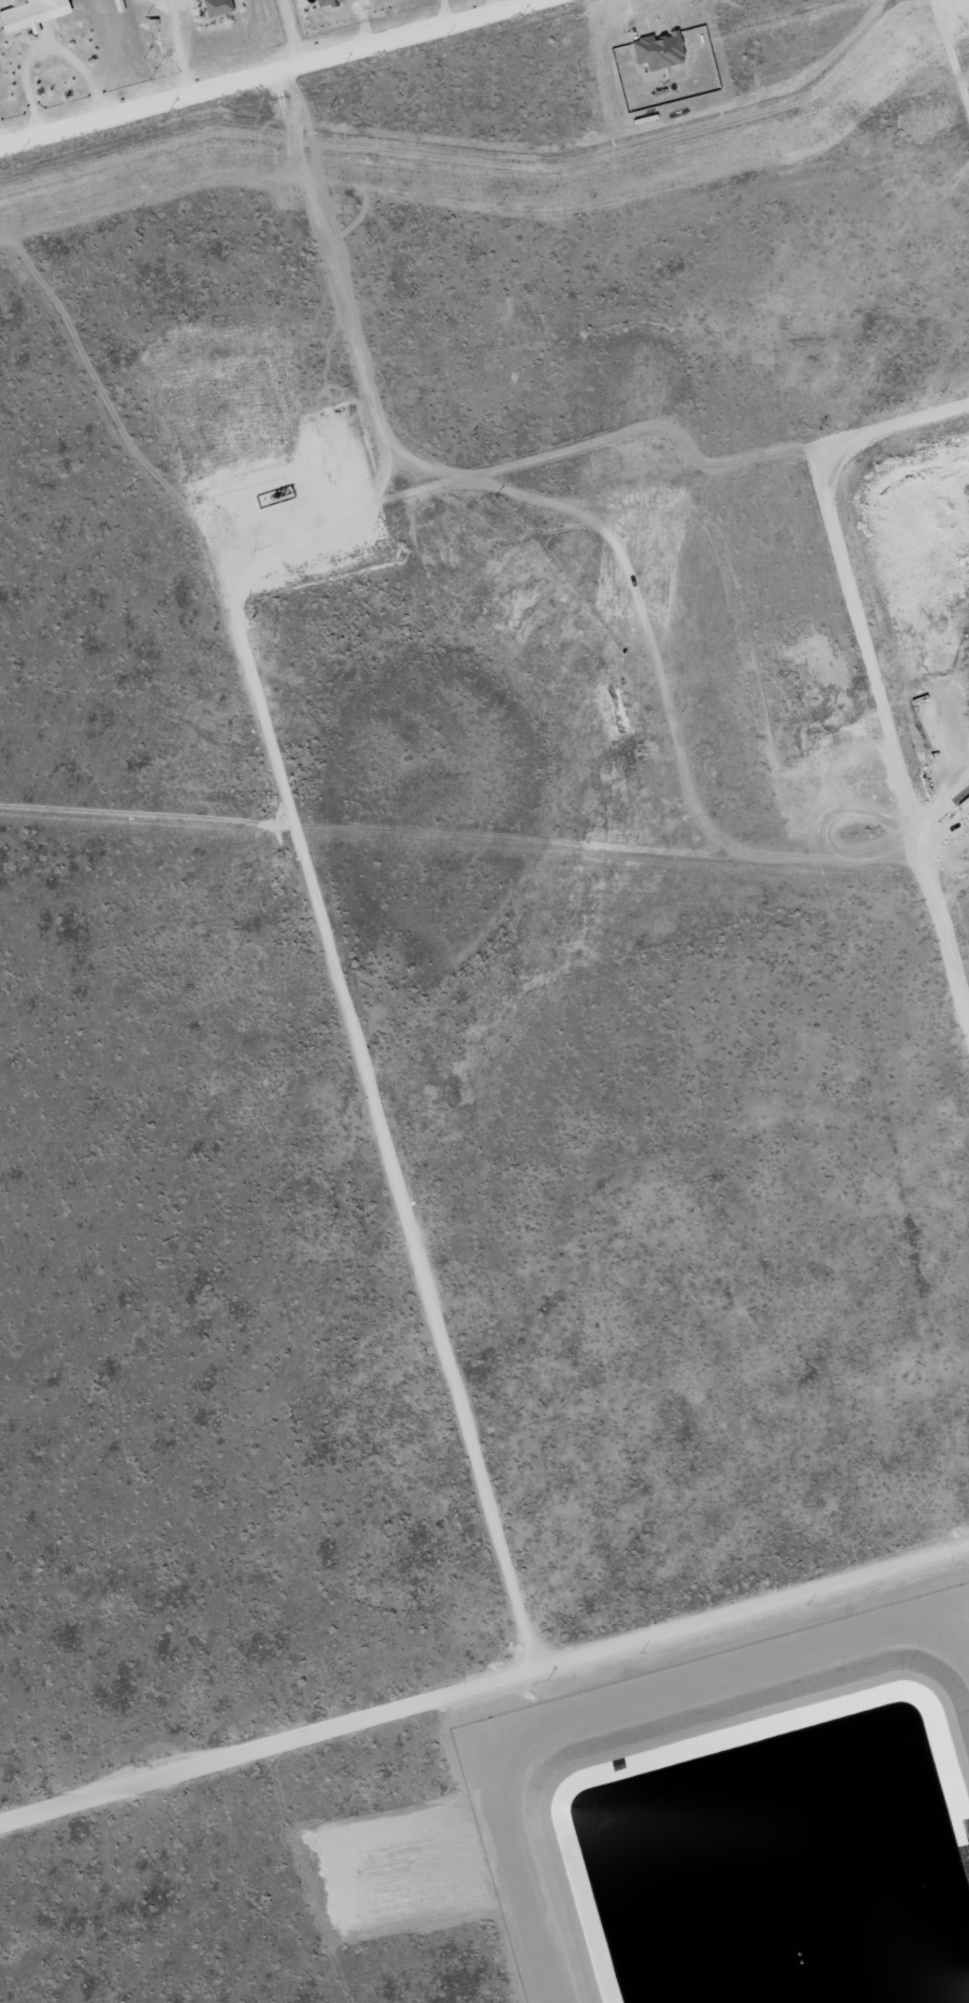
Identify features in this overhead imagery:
building: (327, 3)
building: (215, 8)
building: (22, 18)
building: (656, 52)
road: (258, 70)

